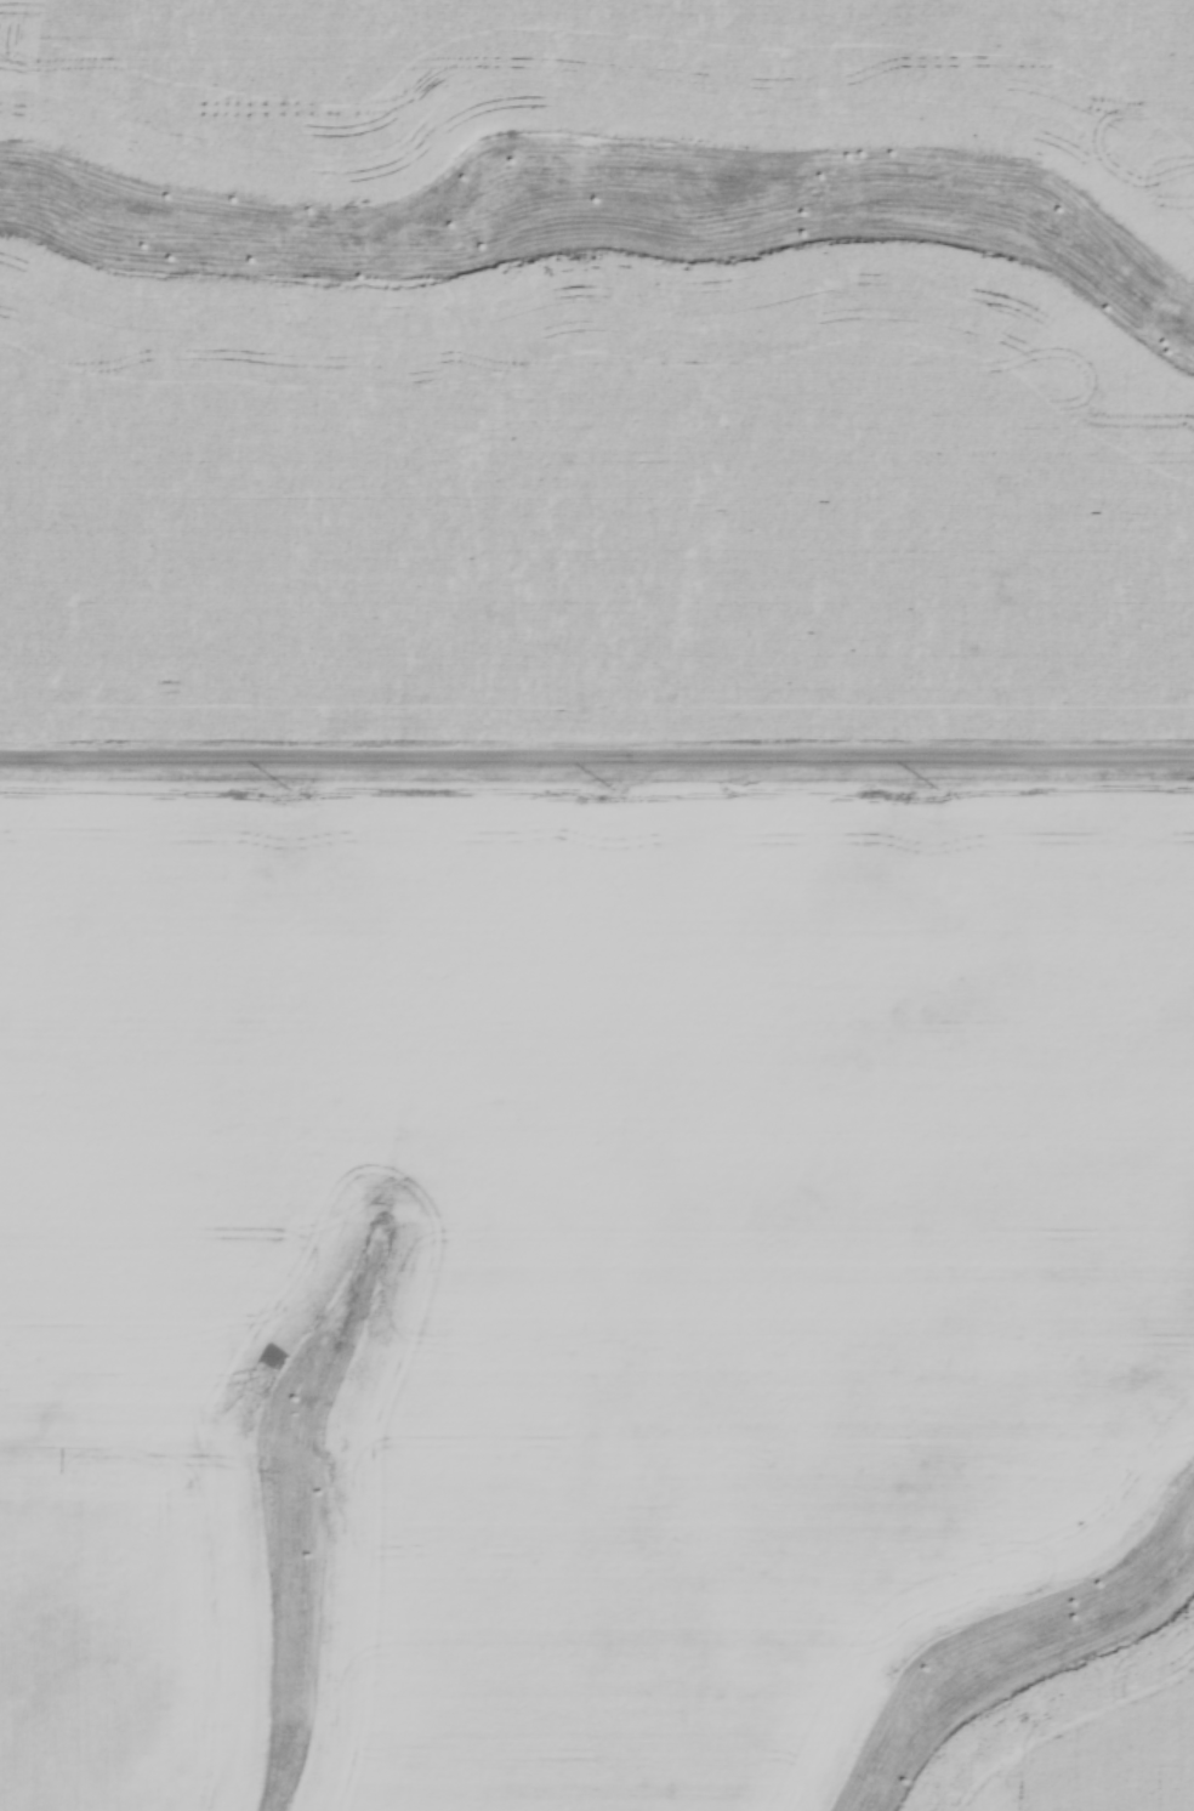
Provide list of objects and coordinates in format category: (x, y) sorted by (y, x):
road: (597, 754)

